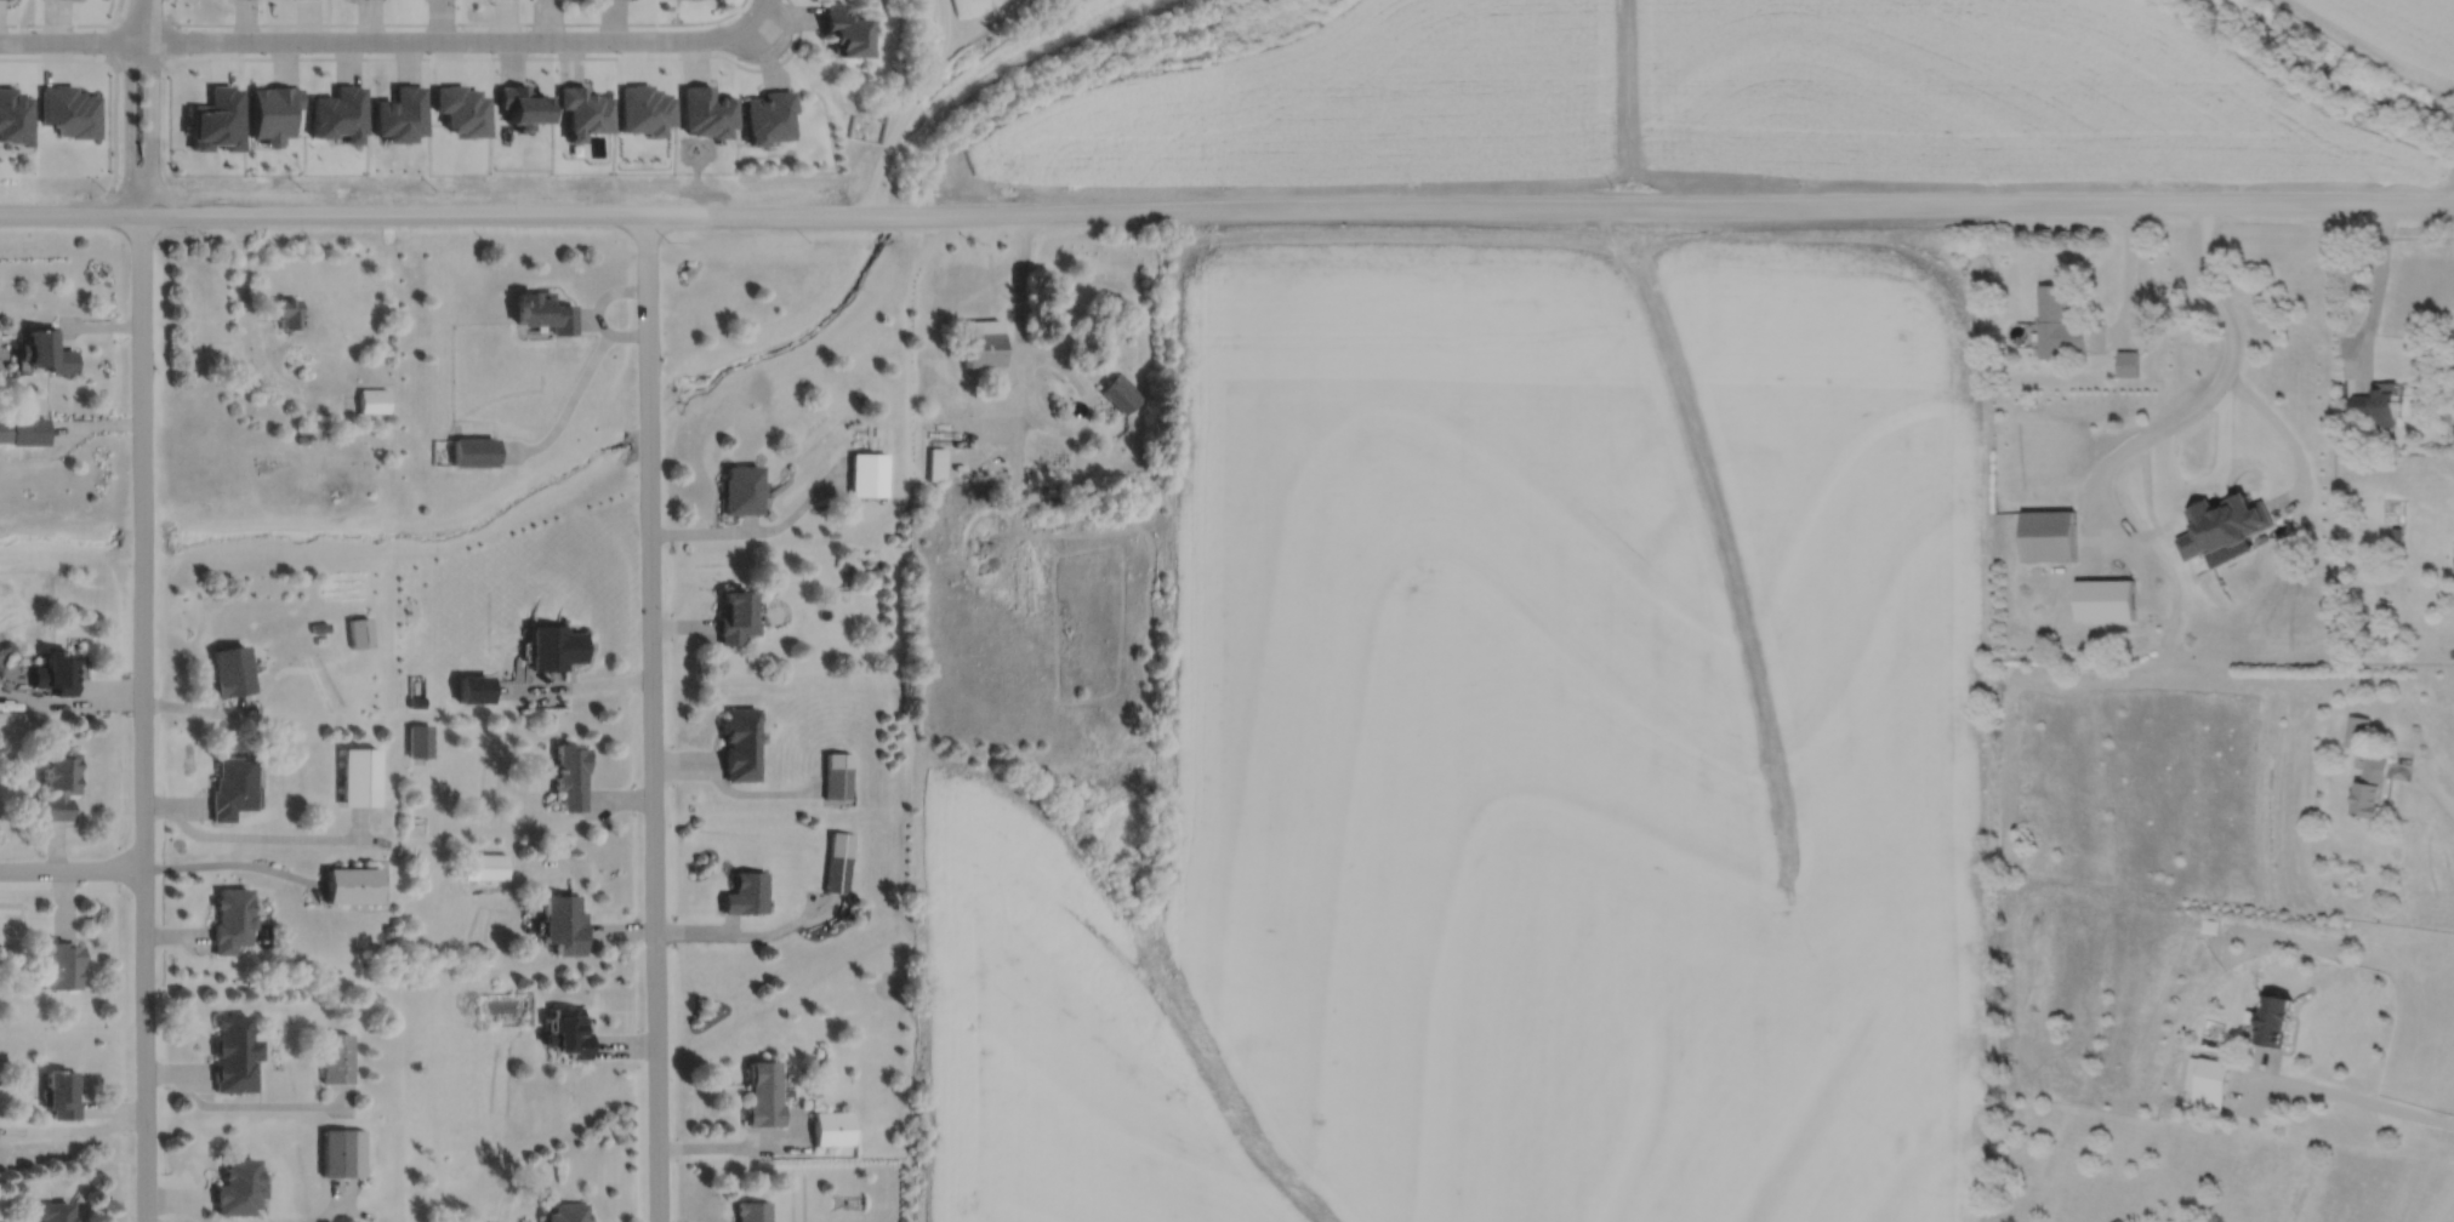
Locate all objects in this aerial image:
crop: (973, 6)
road: (138, 18)
road: (768, 18)
road: (143, 19)
road: (454, 22)
road: (67, 23)
road: (946, 24)
building: (844, 27)
crop: (2387, 34)
road: (112, 39)
road: (383, 39)
road: (172, 40)
crop: (1037, 44)
road: (506, 56)
road: (137, 64)
road: (114, 72)
road: (918, 90)
crop: (1702, 98)
building: (523, 102)
building: (461, 105)
building: (644, 105)
building: (271, 108)
building: (583, 108)
building: (705, 108)
building: (399, 110)
building: (337, 112)
building: (768, 113)
building: (216, 116)
building: (15, 118)
road: (130, 126)
road: (150, 127)
road: (1592, 207)
road: (365, 213)
road: (2126, 270)
road: (2376, 284)
building: (545, 309)
building: (285, 310)
building: (1066, 315)
building: (2059, 324)
road: (250, 336)
building: (983, 341)
building: (46, 348)
building: (2126, 361)
road: (1023, 372)
building: (1121, 390)
building: (372, 399)
road: (2203, 399)
building: (2378, 401)
building: (24, 429)
road: (2283, 430)
building: (303, 435)
building: (474, 450)
building: (936, 462)
building: (870, 473)
road: (2210, 480)
building: (741, 489)
building: (1052, 490)
building: (2225, 524)
building: (2395, 532)
building: (2048, 535)
building: (873, 576)
building: (2105, 599)
building: (735, 616)
building: (318, 627)
building: (359, 630)
building: (554, 646)
building: (229, 670)
building: (56, 673)
building: (474, 689)
building: (416, 701)
road: (651, 716)
road: (142, 718)
building: (2356, 731)
building: (420, 740)
building: (740, 743)
crop: (1521, 749)
building: (837, 772)
building: (359, 776)
building: (571, 776)
road: (2429, 781)
building: (57, 787)
building: (230, 787)
building: (2369, 788)
building: (838, 858)
building: (490, 866)
road: (72, 867)
building: (352, 885)
building: (745, 890)
building: (230, 920)
building: (564, 924)
building: (2210, 924)
building: (59, 964)
building: (2271, 1017)
building: (568, 1029)
building: (230, 1050)
building: (336, 1055)
building: (2205, 1079)
building: (59, 1091)
building: (762, 1092)
road: (2347, 1095)
building: (835, 1125)
building: (341, 1149)
building: (235, 1186)
road: (2442, 1203)
building: (51, 1210)
building: (751, 1210)
road: (2447, 1210)
building: (568, 1211)

